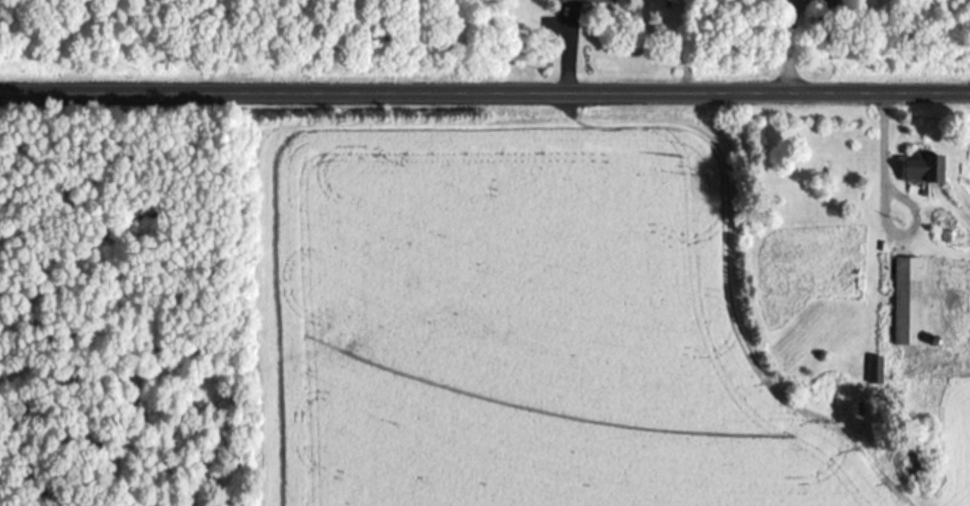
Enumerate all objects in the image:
building: (583, 2)
road: (485, 94)
building: (920, 170)
building: (905, 303)

